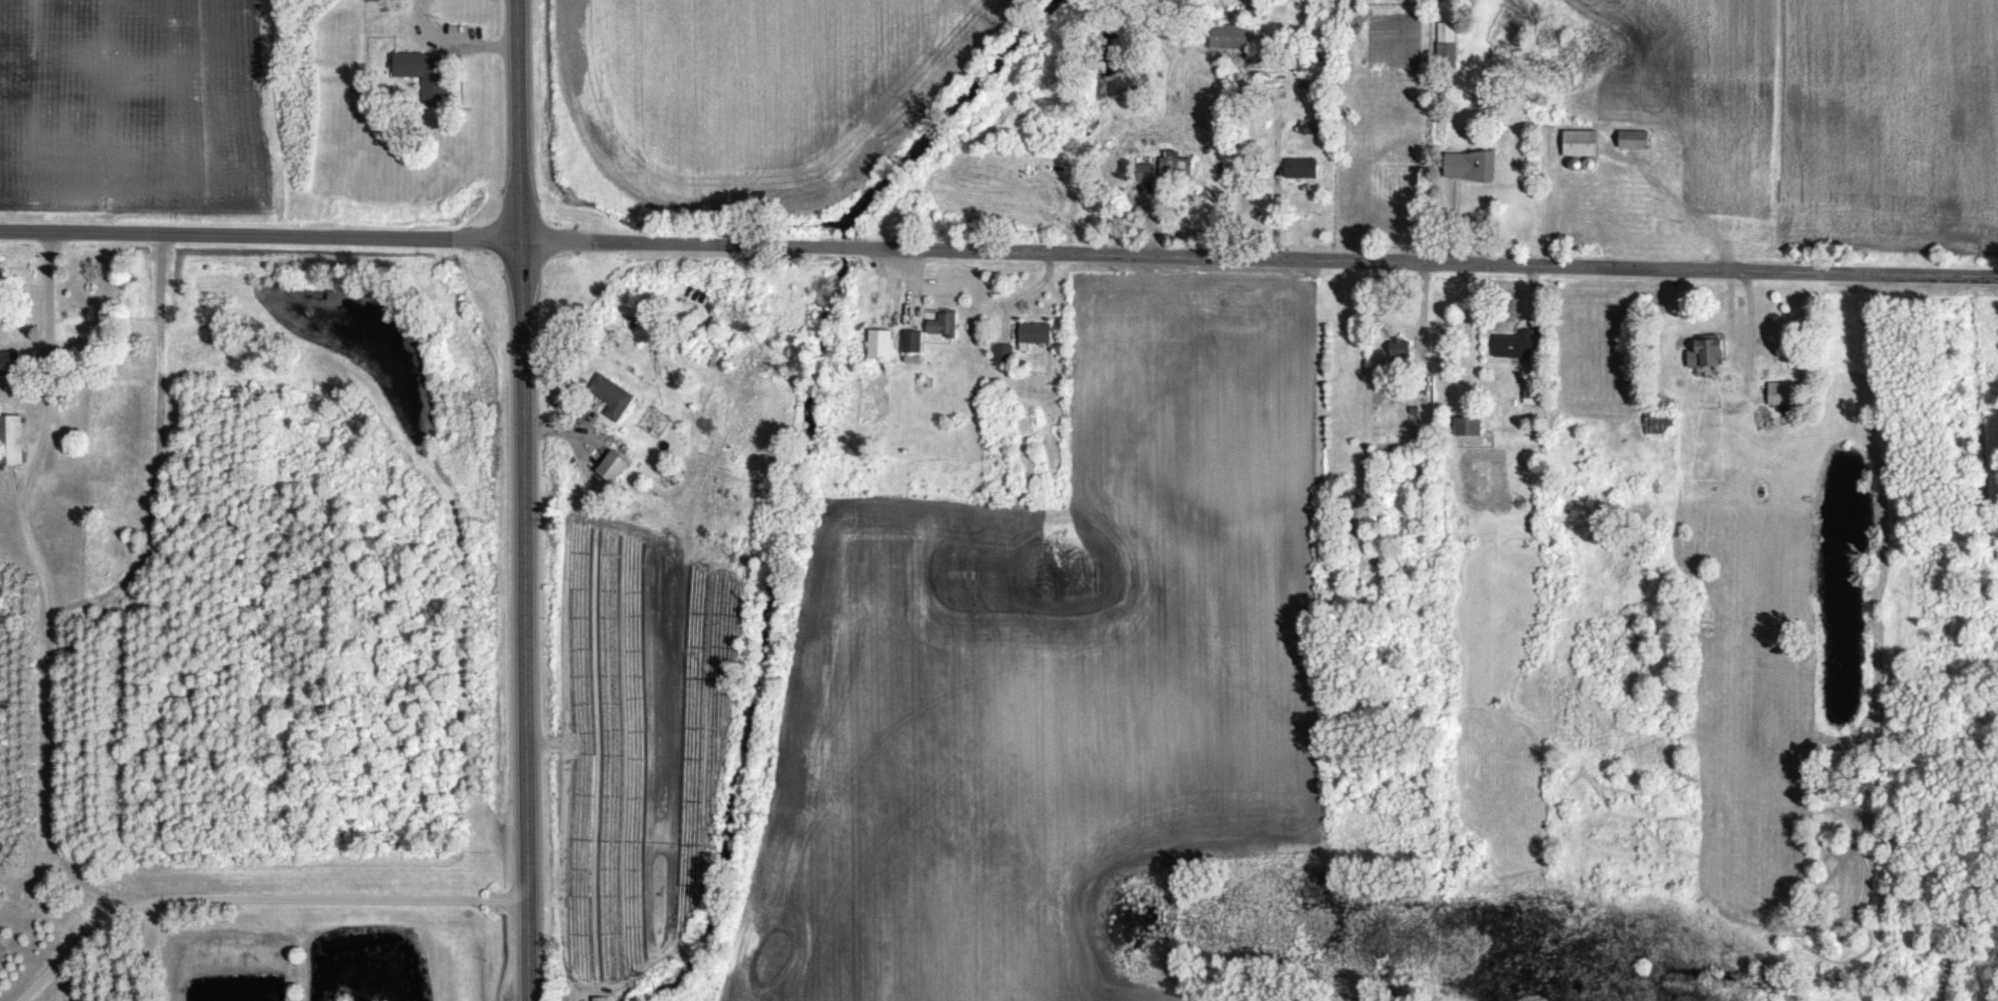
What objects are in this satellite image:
building: (1231, 35)
building: (1448, 40)
building: (422, 70)
road: (516, 119)
building: (1630, 138)
building: (1578, 142)
building: (1474, 164)
building: (1176, 166)
building: (1303, 167)
building: (1148, 169)
road: (998, 251)
road: (1027, 291)
building: (942, 322)
building: (1035, 333)
building: (911, 340)
building: (879, 342)
building: (1520, 343)
building: (1703, 351)
building: (1003, 352)
building: (10, 359)
building: (1777, 393)
building: (612, 395)
building: (1471, 425)
building: (9, 439)
road: (152, 451)
building: (613, 465)
road: (44, 590)
road: (520, 620)
road: (330, 898)
road: (70, 943)
building: (596, 998)

